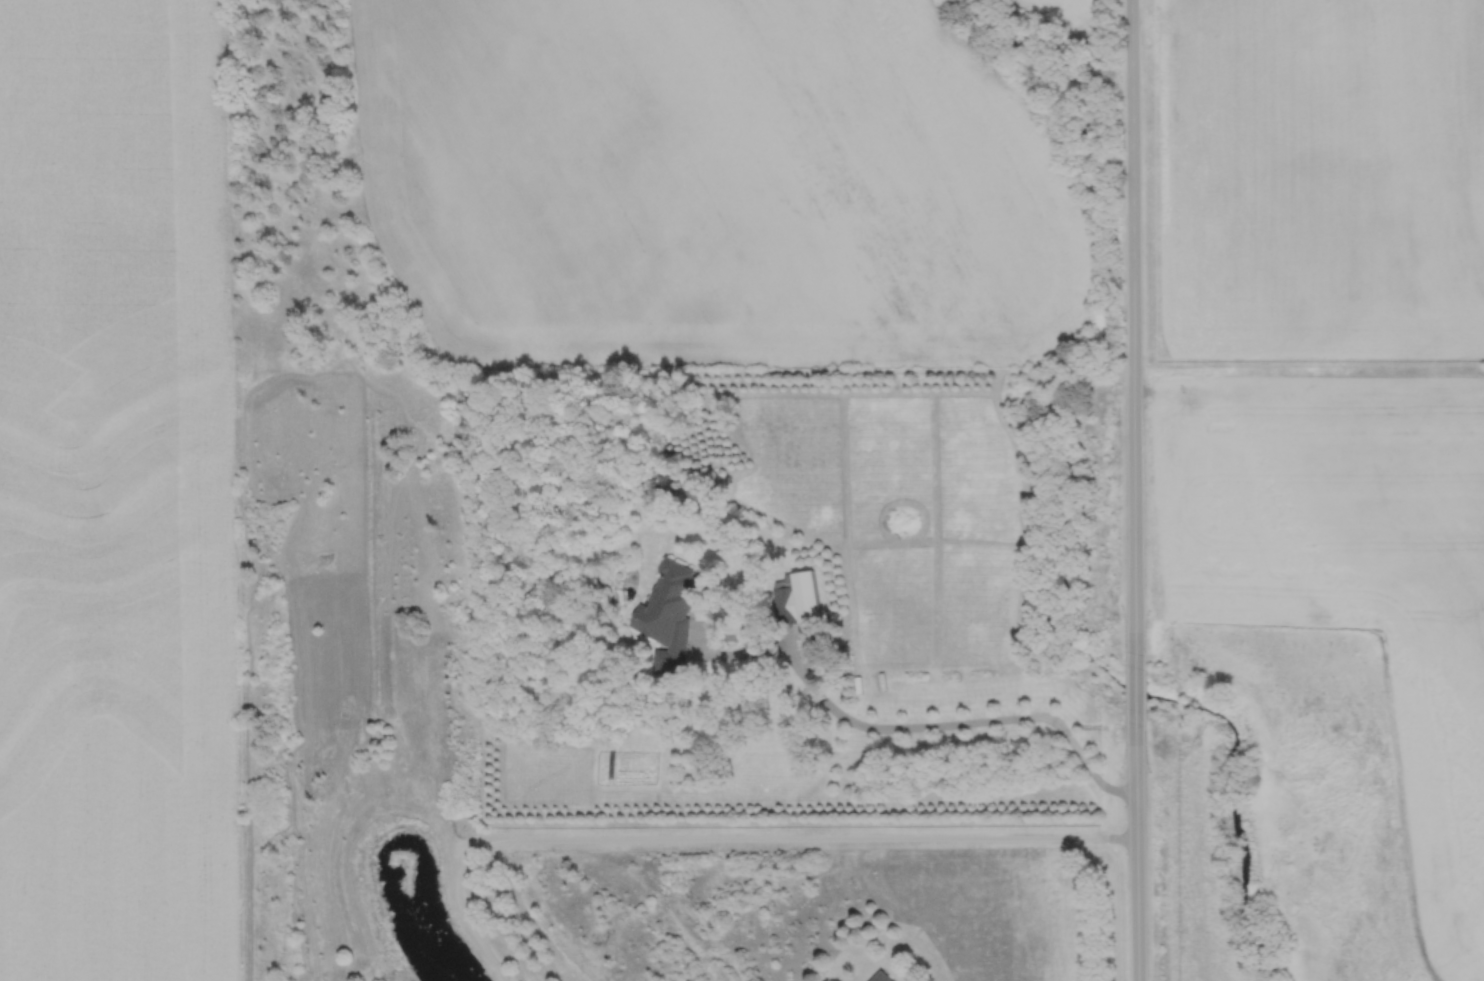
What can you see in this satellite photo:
road: (1131, 326)
building: (797, 600)
building: (668, 618)
road: (1134, 687)
road: (942, 722)
park: (1280, 812)
road: (728, 839)
road: (1136, 851)
building: (879, 977)

